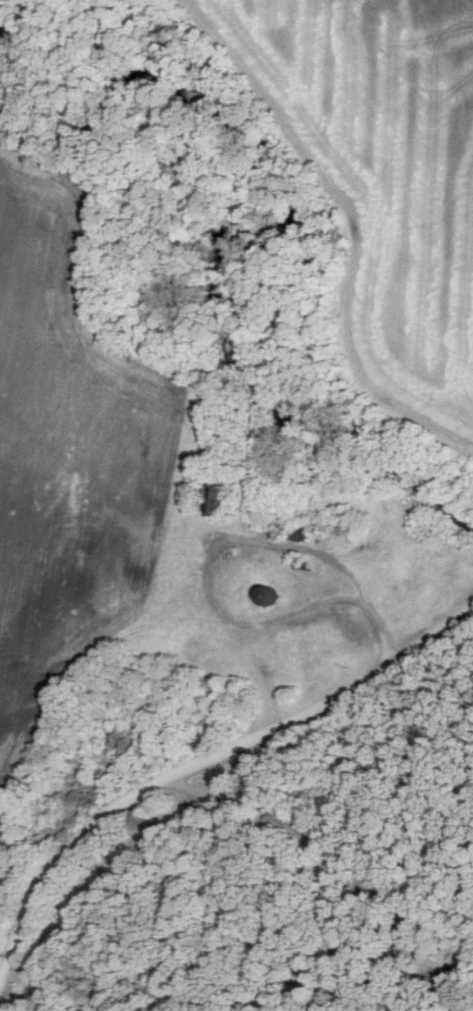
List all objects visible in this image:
building: (224, 501)
road: (204, 762)

